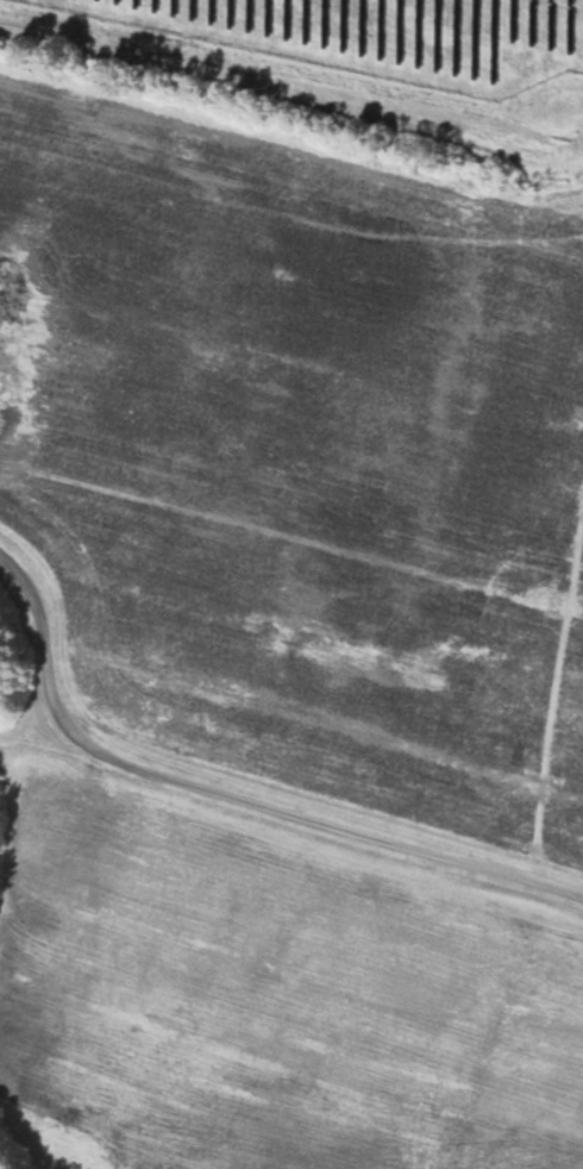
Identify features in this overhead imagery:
road: (221, 795)

